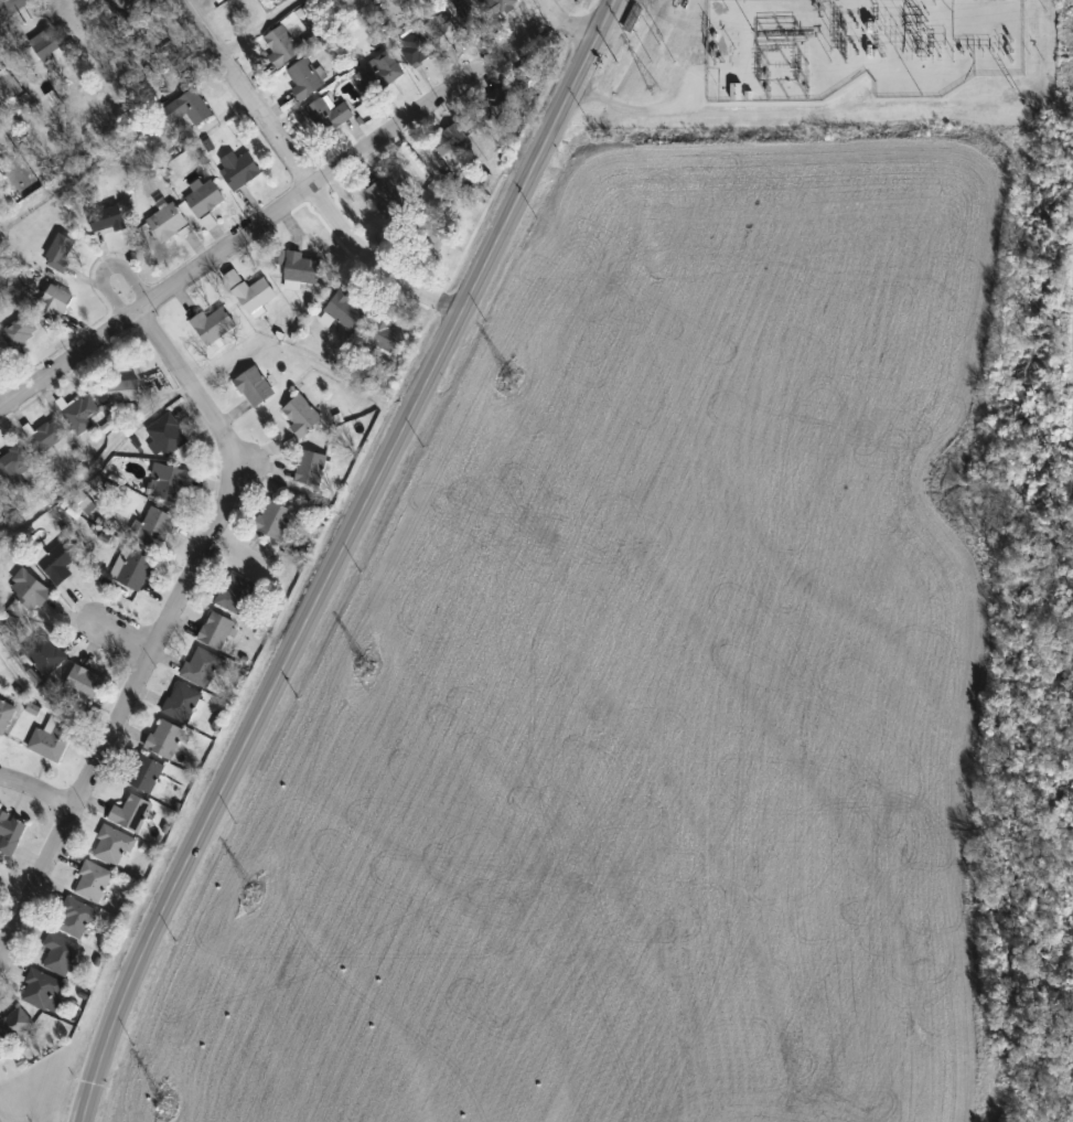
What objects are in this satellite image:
building: (505, 6)
road: (10, 7)
building: (122, 8)
road: (0, 13)
building: (632, 15)
road: (565, 21)
road: (255, 26)
building: (442, 31)
building: (281, 45)
building: (43, 46)
power substation: (858, 47)
building: (415, 49)
building: (382, 72)
building: (532, 75)
building: (304, 79)
building: (8, 87)
power tower: (653, 90)
building: (506, 100)
building: (189, 109)
building: (328, 116)
building: (453, 143)
road: (120, 152)
road: (535, 157)
building: (238, 170)
road: (301, 174)
building: (386, 193)
building: (205, 200)
road: (276, 209)
building: (107, 221)
building: (168, 223)
building: (434, 234)
building: (61, 253)
road: (105, 266)
building: (301, 271)
building: (256, 296)
building: (56, 301)
building: (343, 310)
building: (213, 325)
building: (19, 332)
building: (386, 336)
power tower: (509, 380)
building: (255, 388)
building: (124, 391)
road: (3, 397)
building: (83, 415)
building: (302, 416)
building: (165, 436)
building: (47, 437)
road: (98, 462)
building: (18, 467)
building: (311, 469)
building: (1, 484)
building: (170, 484)
building: (275, 521)
building: (158, 527)
railway: (384, 556)
building: (58, 563)
building: (136, 570)
building: (236, 595)
road: (164, 628)
building: (217, 629)
building: (44, 650)
building: (202, 663)
power tower: (367, 665)
building: (84, 680)
building: (181, 698)
road: (45, 703)
building: (6, 712)
road: (258, 714)
building: (164, 735)
building: (51, 736)
building: (146, 770)
road: (37, 788)
building: (130, 810)
building: (10, 827)
building: (112, 843)
building: (0, 873)
building: (92, 878)
power tower: (253, 893)
building: (76, 915)
building: (61, 950)
building: (42, 986)
building: (17, 1021)
building: (1, 1049)
power tower: (165, 1102)

